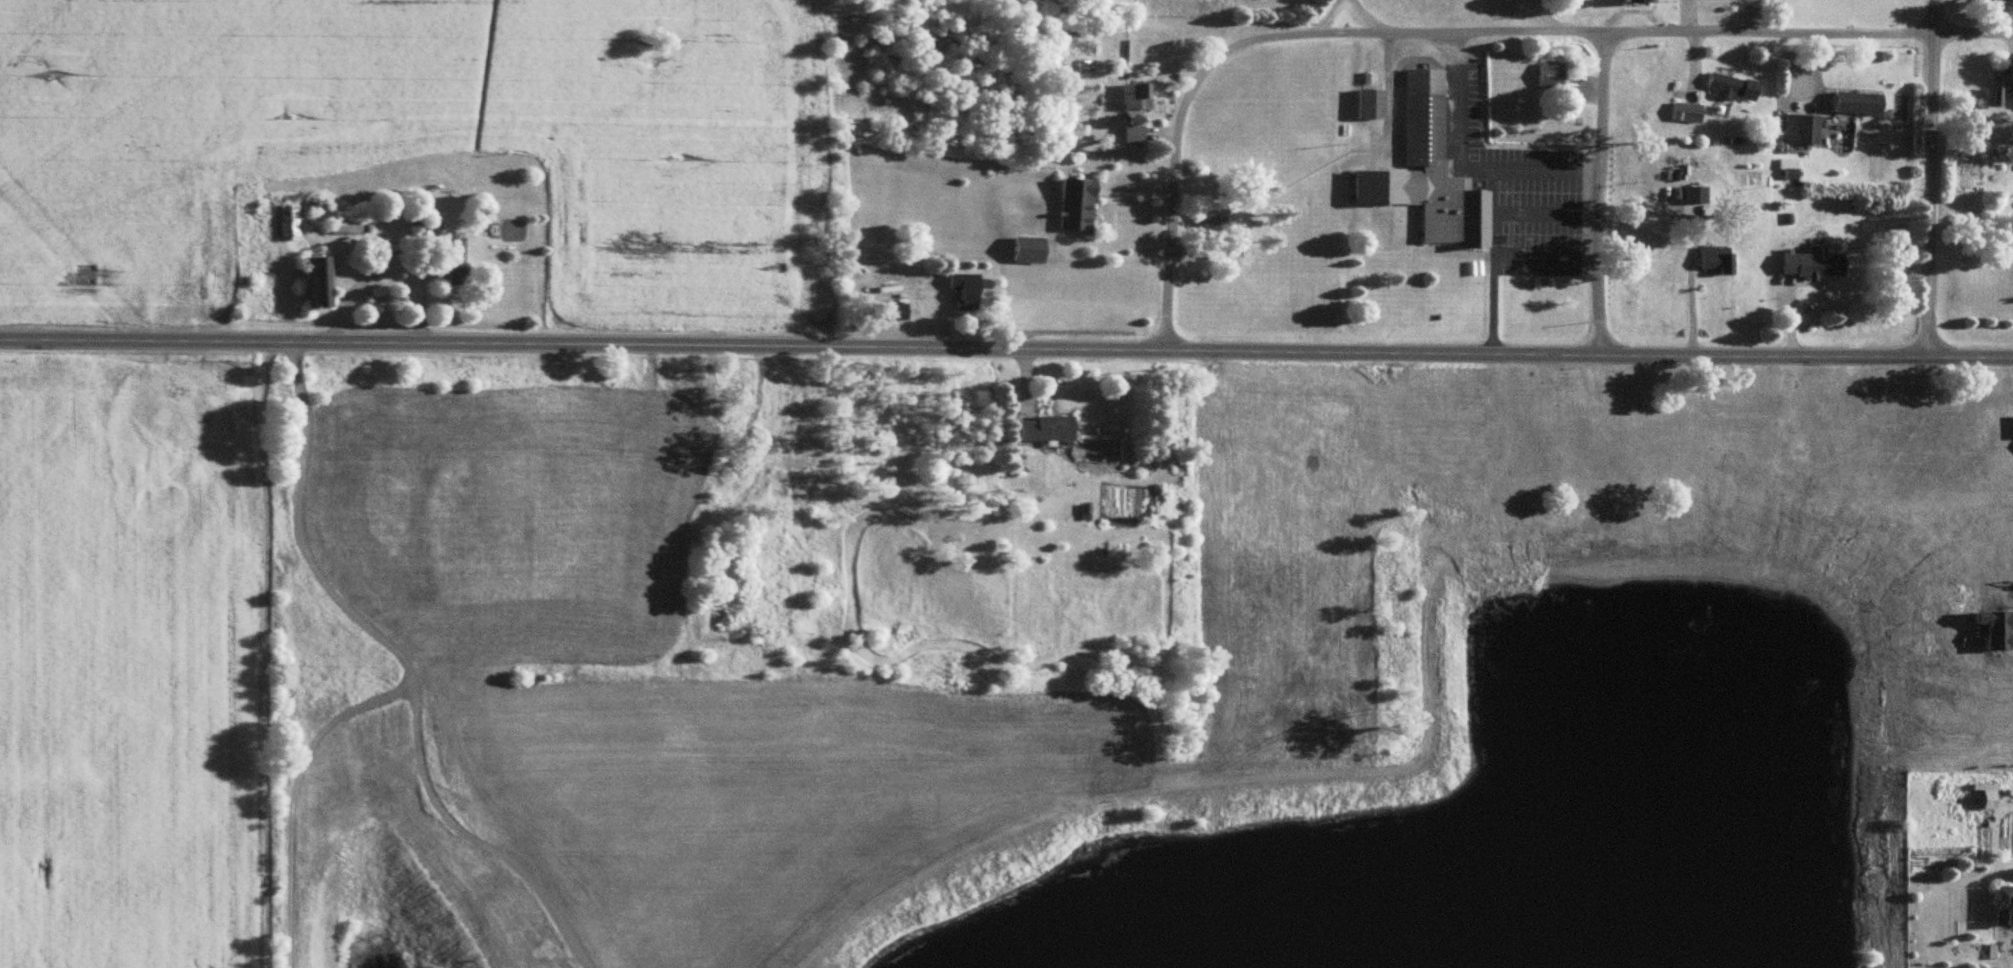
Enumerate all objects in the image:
building: (1630, 0)
building: (2003, 0)
road: (1345, 16)
road: (1537, 16)
road: (1456, 32)
building: (1551, 82)
building: (1729, 85)
building: (1130, 94)
building: (1991, 96)
building: (1366, 101)
building: (1854, 101)
building: (1798, 127)
building: (1127, 131)
road: (1464, 160)
building: (1437, 176)
road: (1931, 177)
road: (1594, 193)
building: (1070, 204)
building: (1207, 210)
road: (1531, 210)
building: (284, 217)
building: (349, 225)
road: (1696, 225)
road: (1495, 251)
building: (1710, 259)
building: (1807, 262)
road: (381, 270)
building: (458, 272)
building: (323, 282)
building: (959, 289)
building: (888, 309)
road: (1006, 348)
building: (681, 387)
building: (623, 397)
building: (1039, 426)
building: (1011, 467)
building: (1993, 487)
building: (779, 492)
building: (2008, 553)
building: (1982, 794)
building: (2000, 904)
road: (2011, 947)

